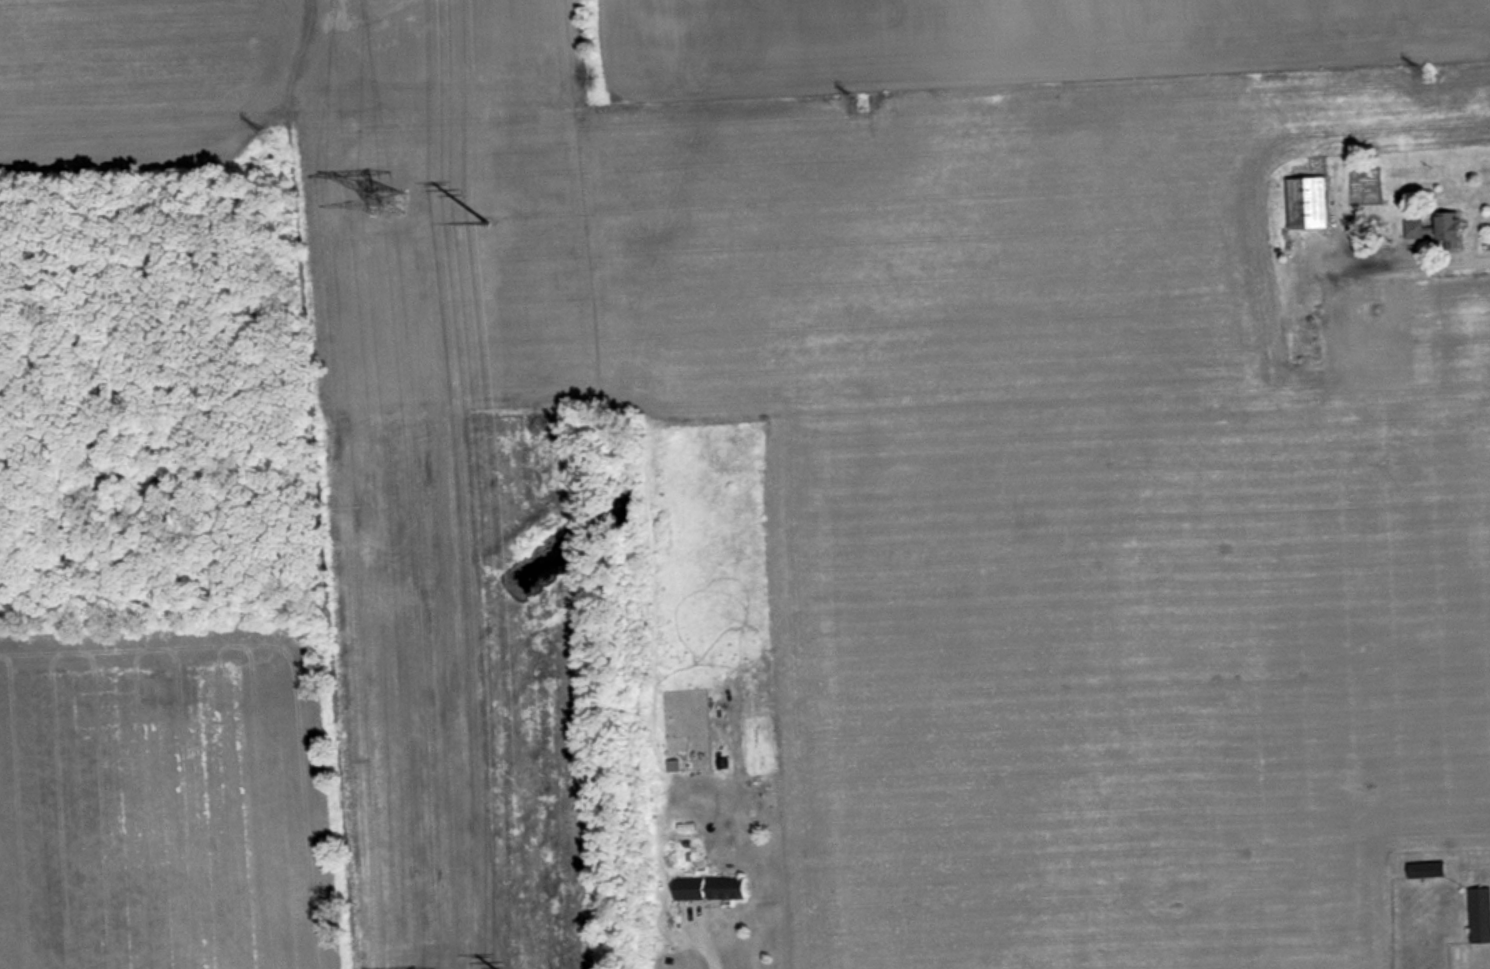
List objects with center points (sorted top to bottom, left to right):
power tower: (1429, 74)
power tower: (863, 104)
power tower: (265, 134)
building: (1307, 202)
power tower: (387, 204)
power tower: (490, 223)
building: (1445, 227)
road: (1443, 259)
building: (1307, 338)
building: (1424, 869)
building: (706, 888)
building: (1479, 915)
road: (709, 943)

